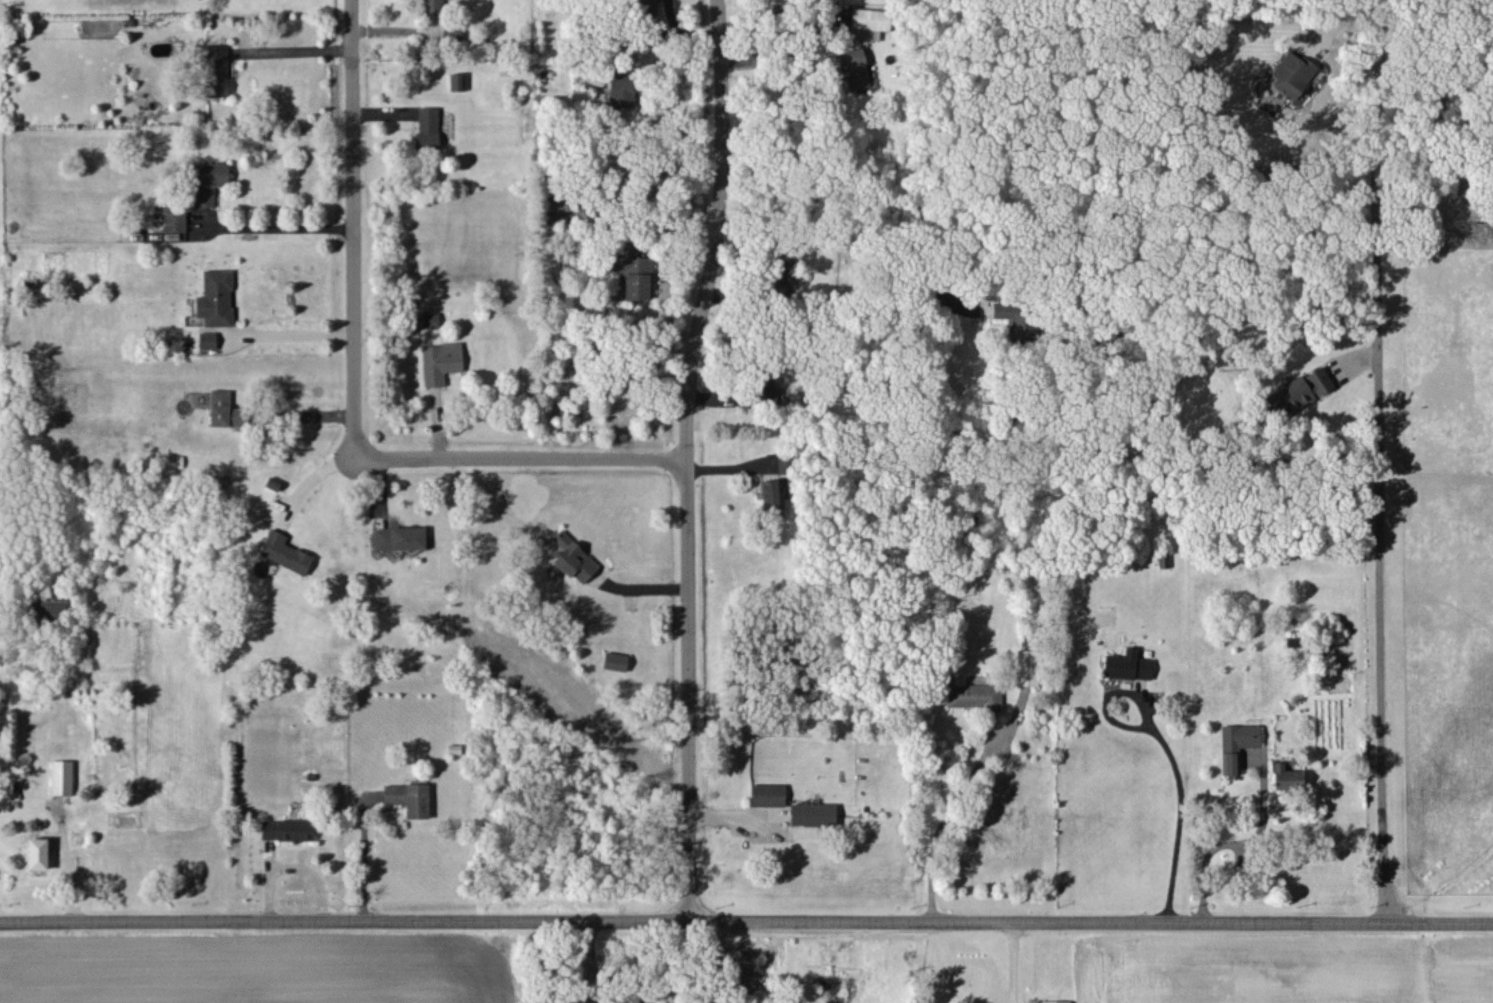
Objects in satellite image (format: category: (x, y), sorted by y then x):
building: (433, 7)
building: (869, 23)
road: (295, 50)
building: (853, 67)
building: (215, 70)
building: (1291, 73)
building: (456, 82)
building: (427, 127)
building: (207, 182)
building: (559, 208)
building: (174, 219)
road: (350, 223)
road: (284, 229)
road: (663, 266)
building: (215, 298)
building: (1017, 318)
building: (429, 319)
road: (287, 332)
building: (207, 340)
building: (440, 362)
building: (1298, 392)
building: (782, 394)
building: (223, 409)
road: (1089, 449)
road: (516, 450)
road: (682, 457)
building: (174, 461)
road: (309, 480)
building: (772, 497)
road: (1378, 519)
building: (399, 538)
building: (284, 552)
building: (573, 558)
building: (615, 661)
building: (1127, 665)
building: (1027, 667)
building: (973, 696)
building: (1237, 744)
road: (1167, 750)
building: (61, 777)
building: (1287, 777)
building: (767, 794)
building: (408, 798)
building: (812, 814)
road: (734, 817)
building: (287, 829)
road: (937, 829)
road: (1237, 841)
building: (37, 853)
road: (361, 859)
road: (287, 870)
road: (746, 918)
road: (702, 960)
road: (1009, 960)
building: (1055, 1002)

